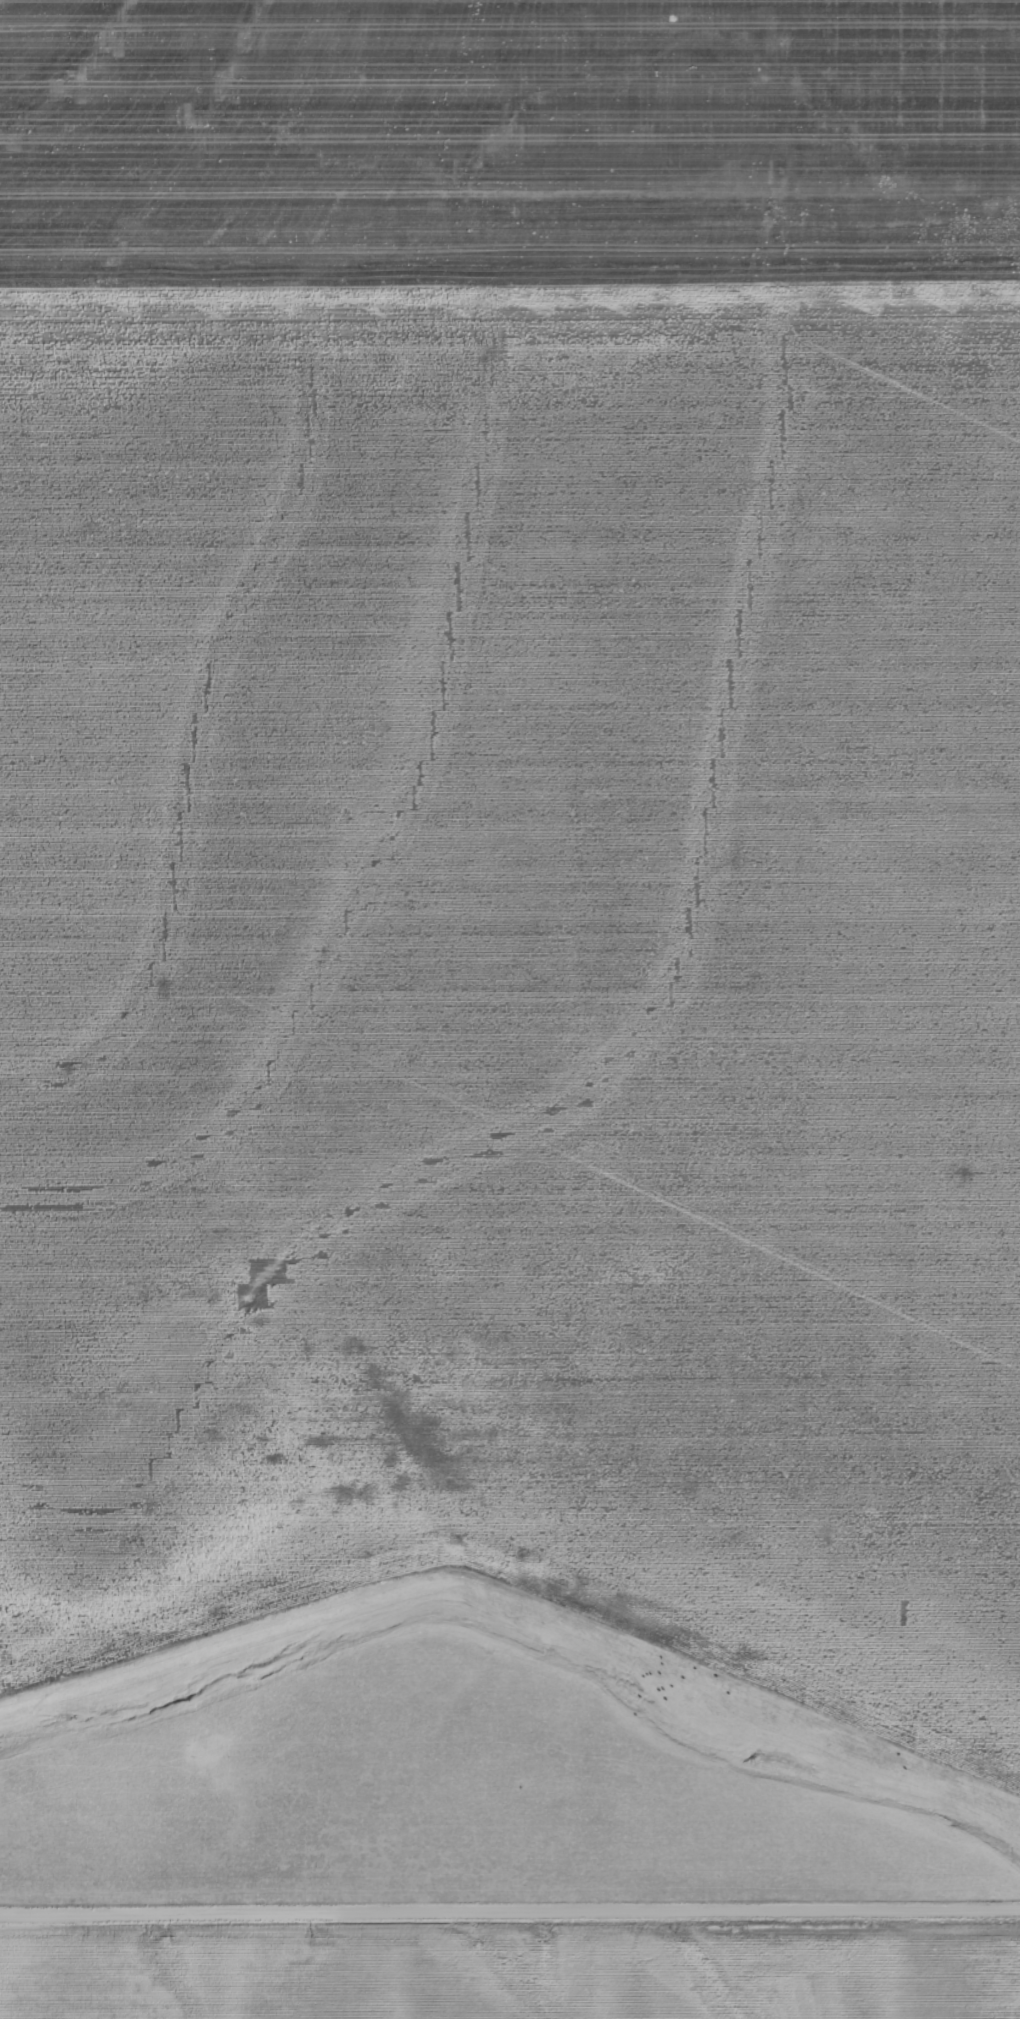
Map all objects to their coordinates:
road: (509, 1912)

